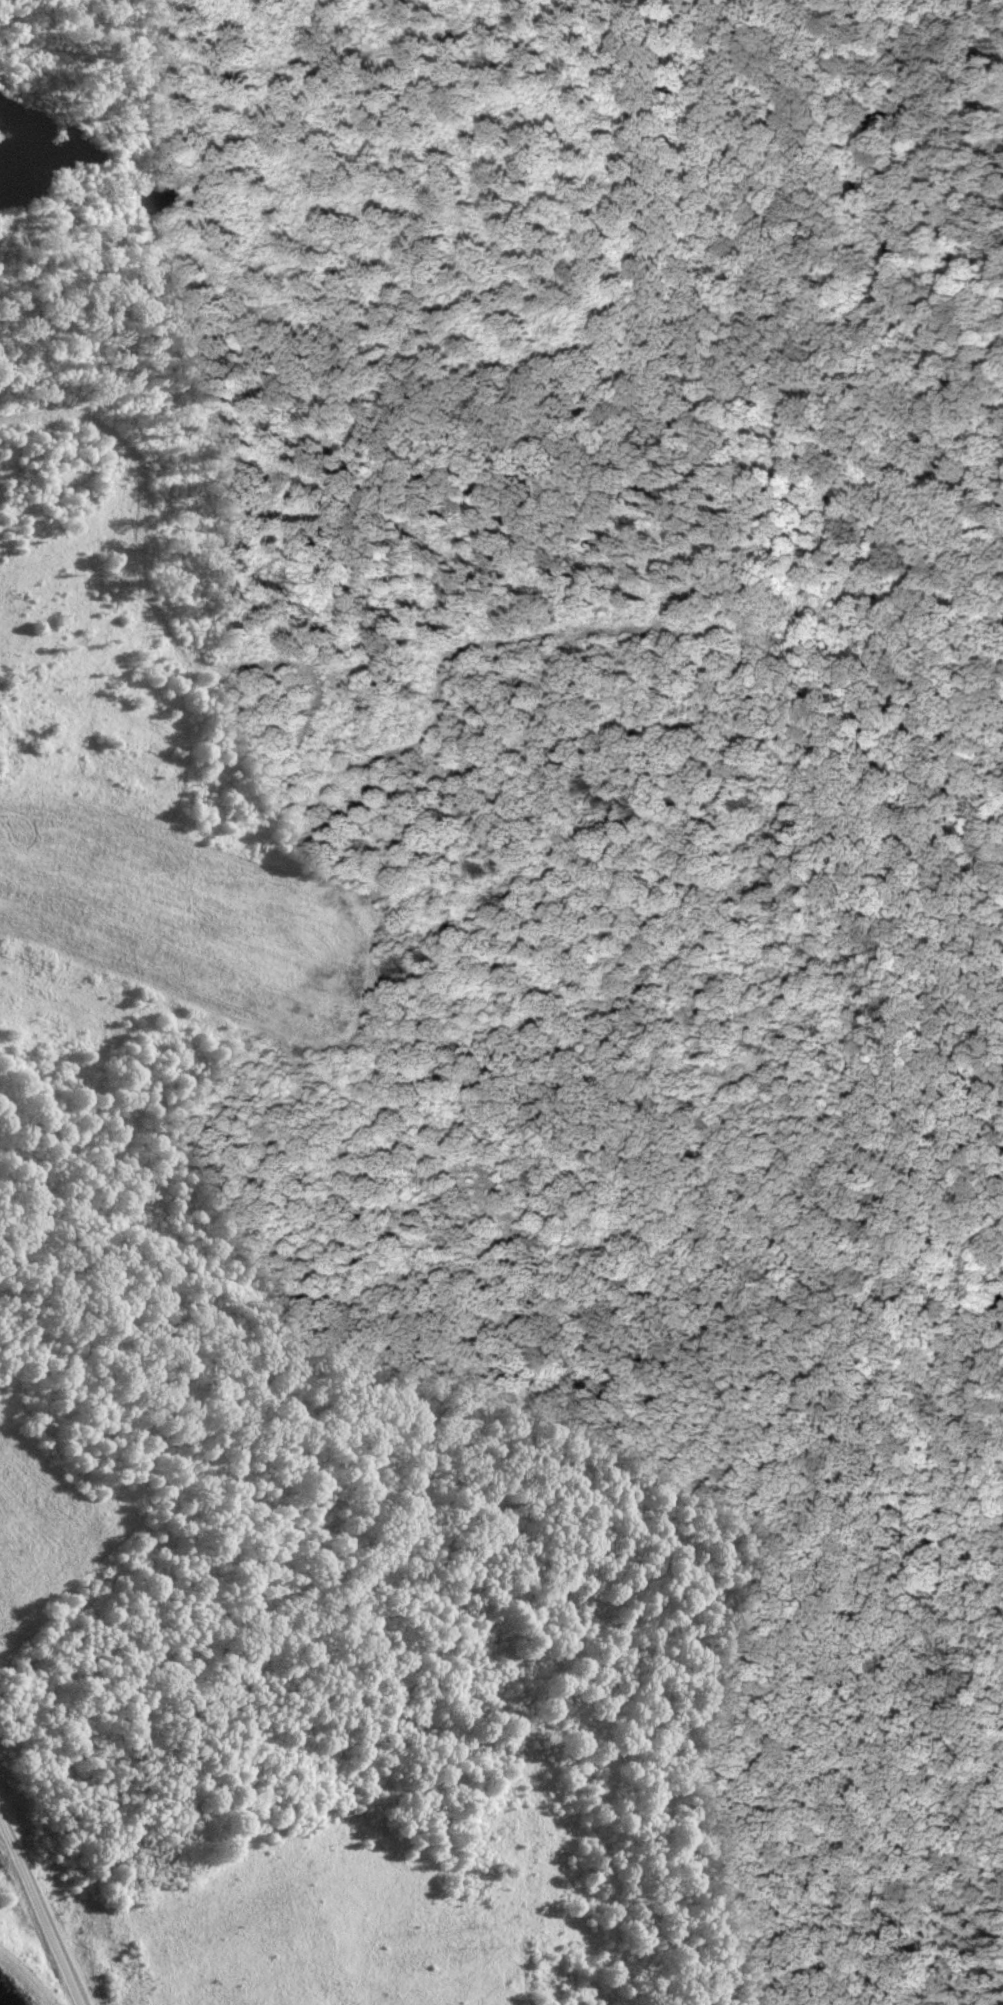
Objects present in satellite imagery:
road: (42, 1911)

